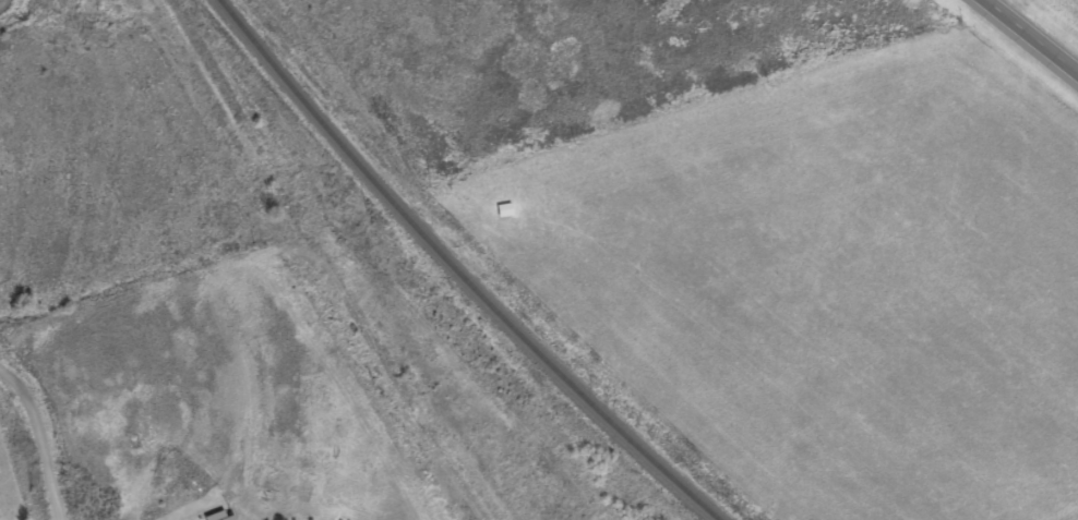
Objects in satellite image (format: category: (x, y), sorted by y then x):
road: (1032, 35)
railway: (456, 271)
road: (41, 436)
building: (220, 517)

